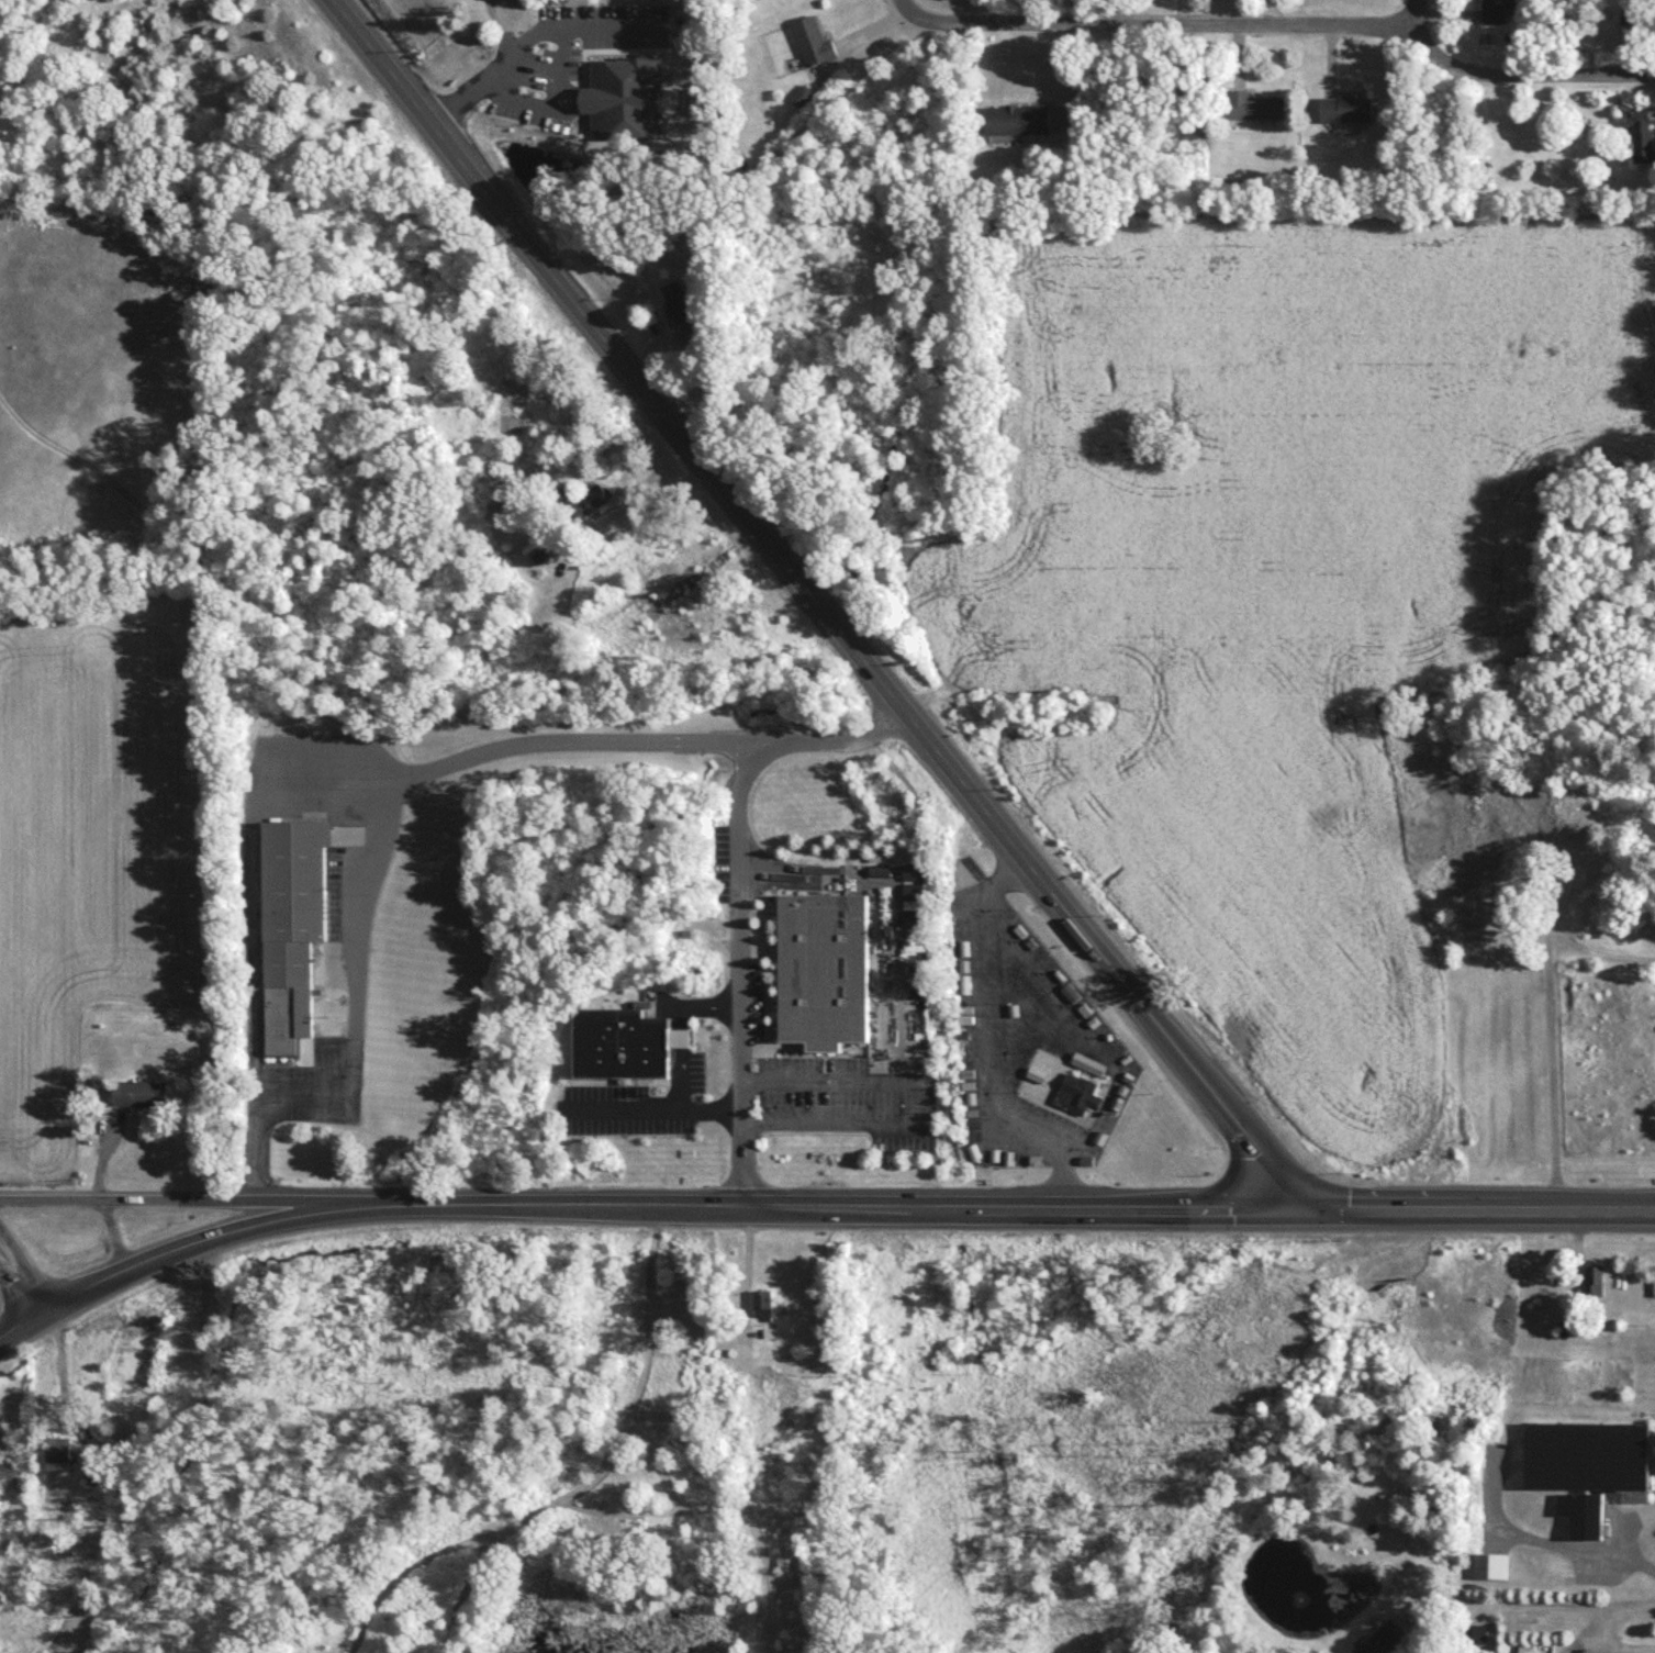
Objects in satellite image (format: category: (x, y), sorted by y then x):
building: (1490, 14)
road: (1158, 22)
road: (523, 47)
building: (810, 47)
road: (1513, 70)
building: (562, 83)
building: (1251, 111)
building: (1343, 115)
building: (1015, 125)
building: (1639, 136)
road: (647, 493)
building: (562, 499)
building: (586, 509)
road: (810, 601)
road: (379, 842)
building: (1460, 847)
road: (253, 883)
road: (738, 907)
building: (294, 922)
building: (819, 967)
road: (708, 1013)
road: (679, 1020)
road: (1548, 1036)
building: (620, 1041)
road: (678, 1041)
road: (1085, 1046)
road: (981, 1047)
road: (880, 1084)
road: (678, 1085)
building: (137, 1099)
road: (658, 1114)
road: (801, 1128)
road: (209, 1206)
road: (848, 1211)
traffic signals: (1279, 1214)
road: (1466, 1215)
road: (114, 1240)
road: (198, 1248)
road: (1568, 1254)
road: (26, 1271)
building: (1589, 1277)
building: (1653, 1277)
road: (20, 1298)
building: (179, 1303)
building: (760, 1309)
building: (1557, 1327)
building: (1586, 1453)
building: (61, 1455)
building: (1579, 1511)
road: (1628, 1534)
building: (787, 1556)
building: (1483, 1563)
road: (1503, 1599)
road: (1600, 1627)
building: (1369, 1642)

